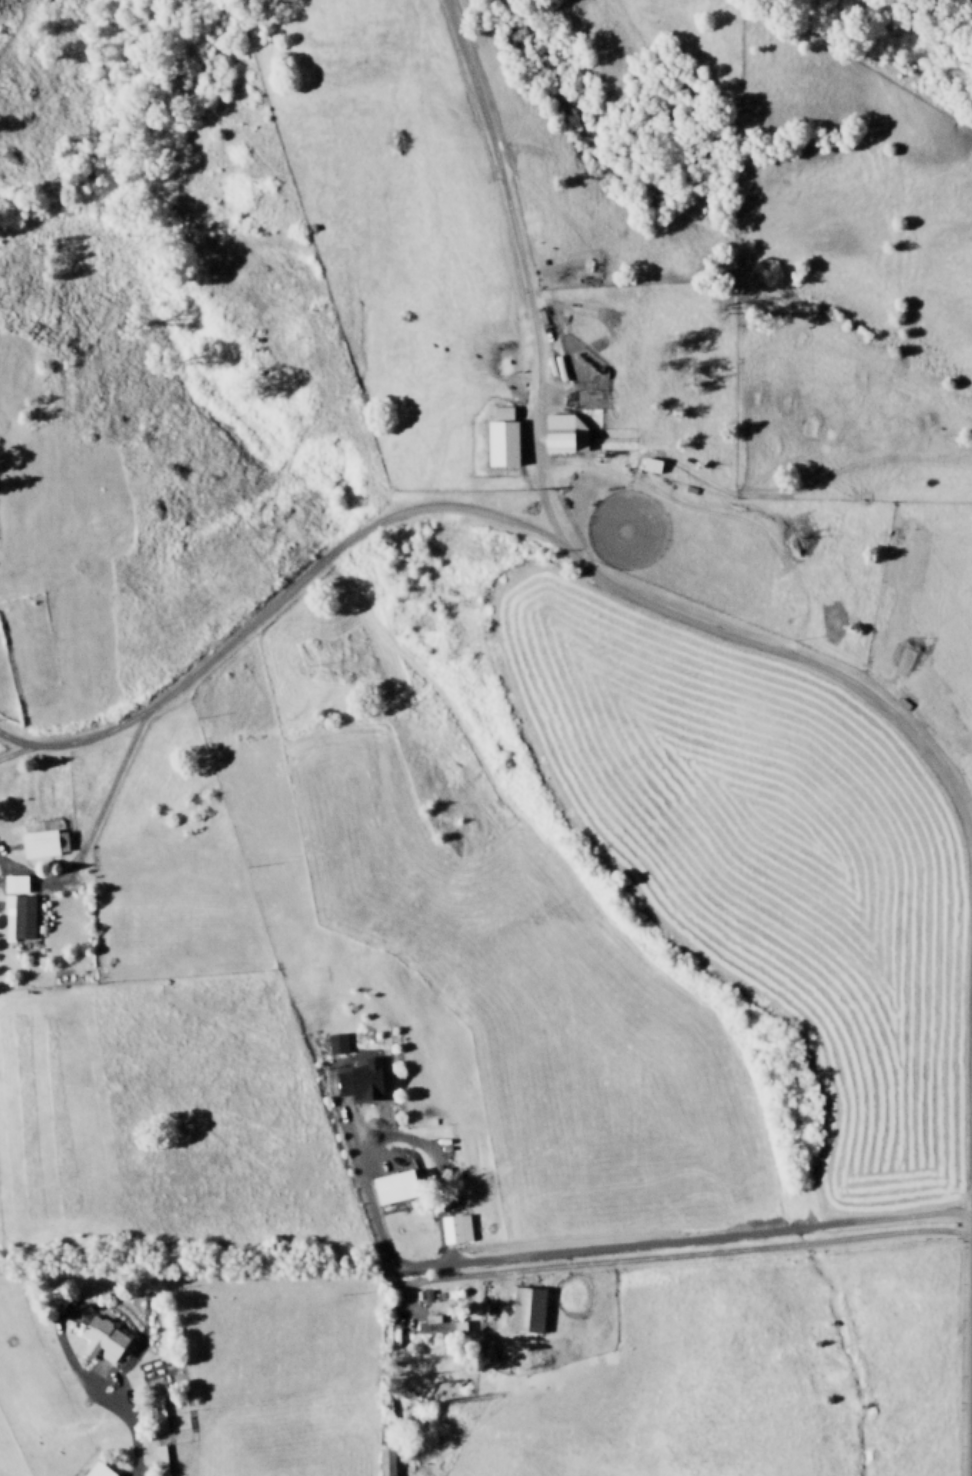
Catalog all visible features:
road: (513, 266)
building: (505, 413)
building: (562, 432)
building: (500, 442)
building: (650, 464)
road: (508, 519)
road: (17, 749)
crop: (509, 793)
road: (92, 824)
building: (43, 842)
building: (13, 883)
building: (18, 916)
building: (336, 1043)
building: (360, 1080)
building: (392, 1186)
building: (456, 1228)
road: (599, 1248)
road: (971, 1273)
building: (527, 1309)
building: (439, 1324)
building: (104, 1339)
building: (158, 1414)
road: (127, 1422)
building: (385, 1461)
building: (97, 1470)

